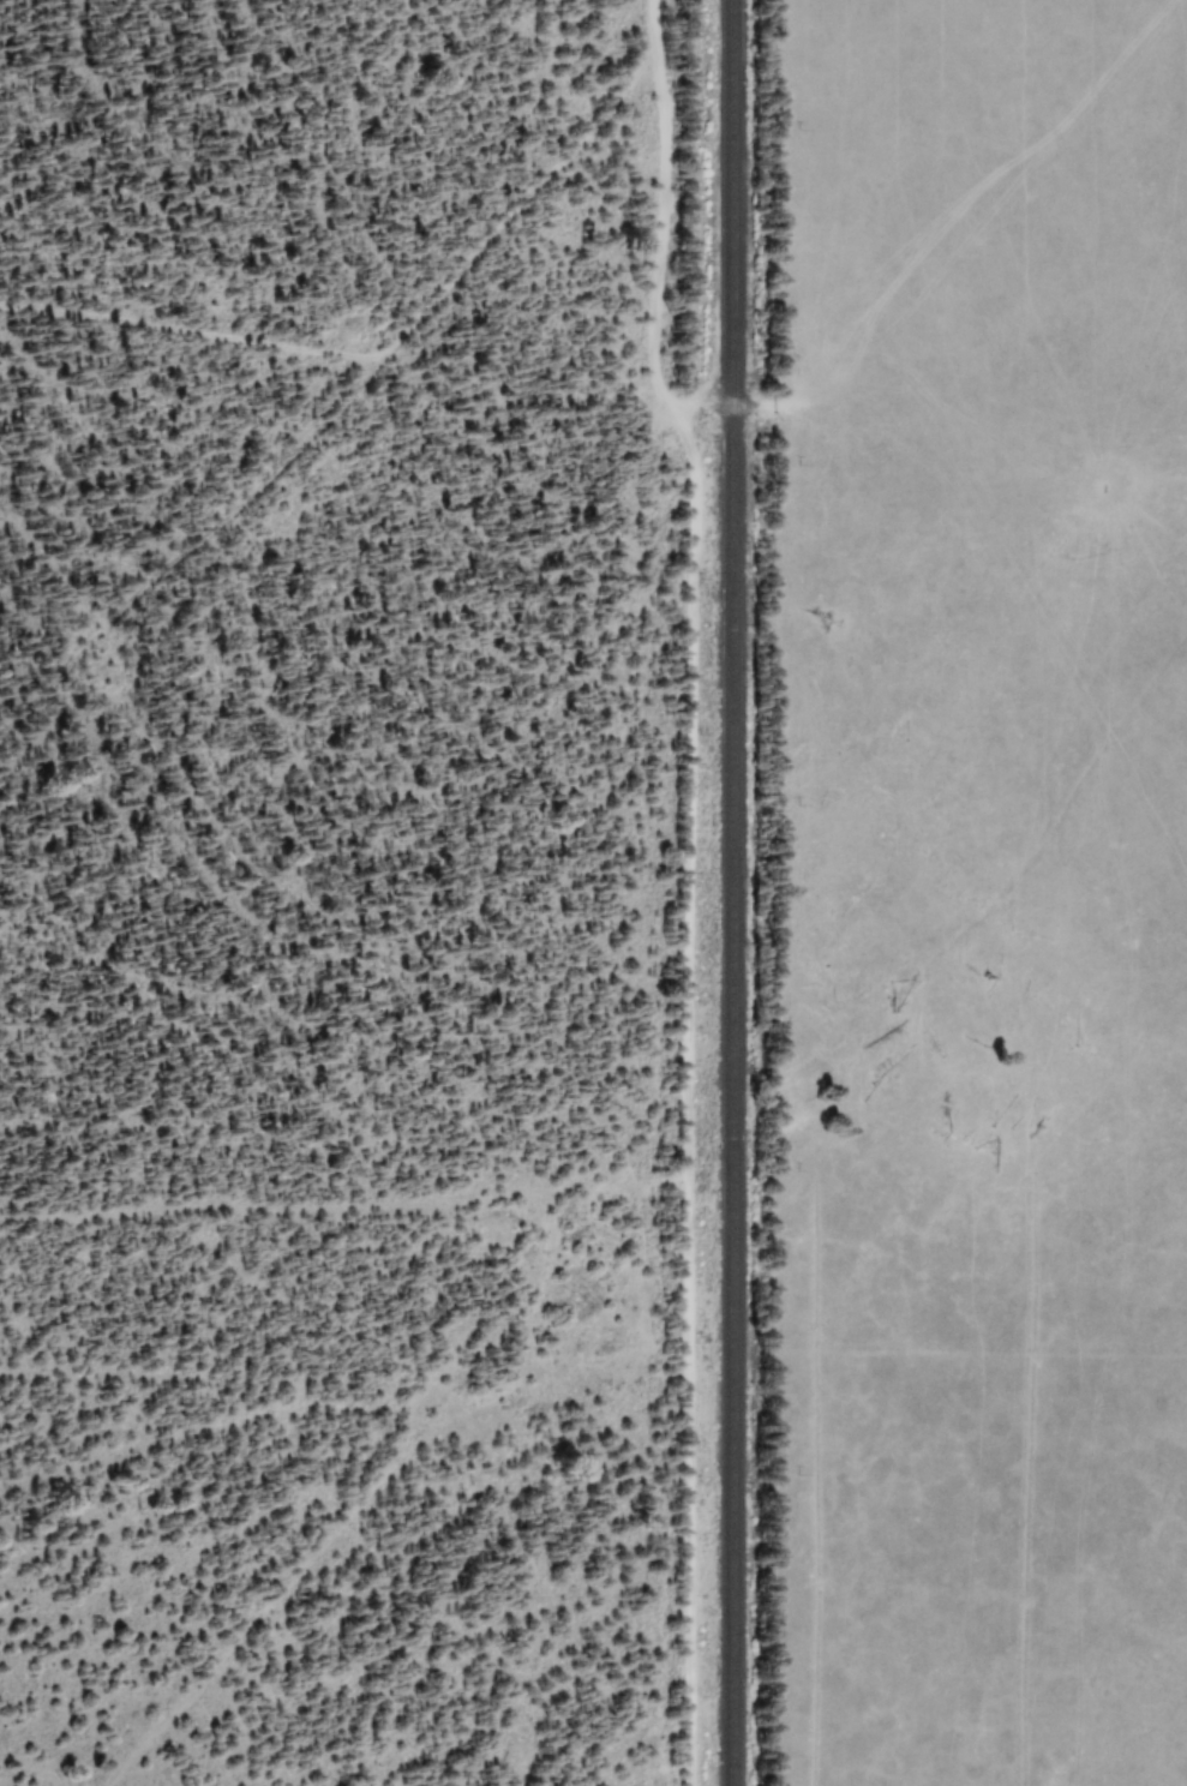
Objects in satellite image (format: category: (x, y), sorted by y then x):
road: (404, 331)
railway: (729, 893)

